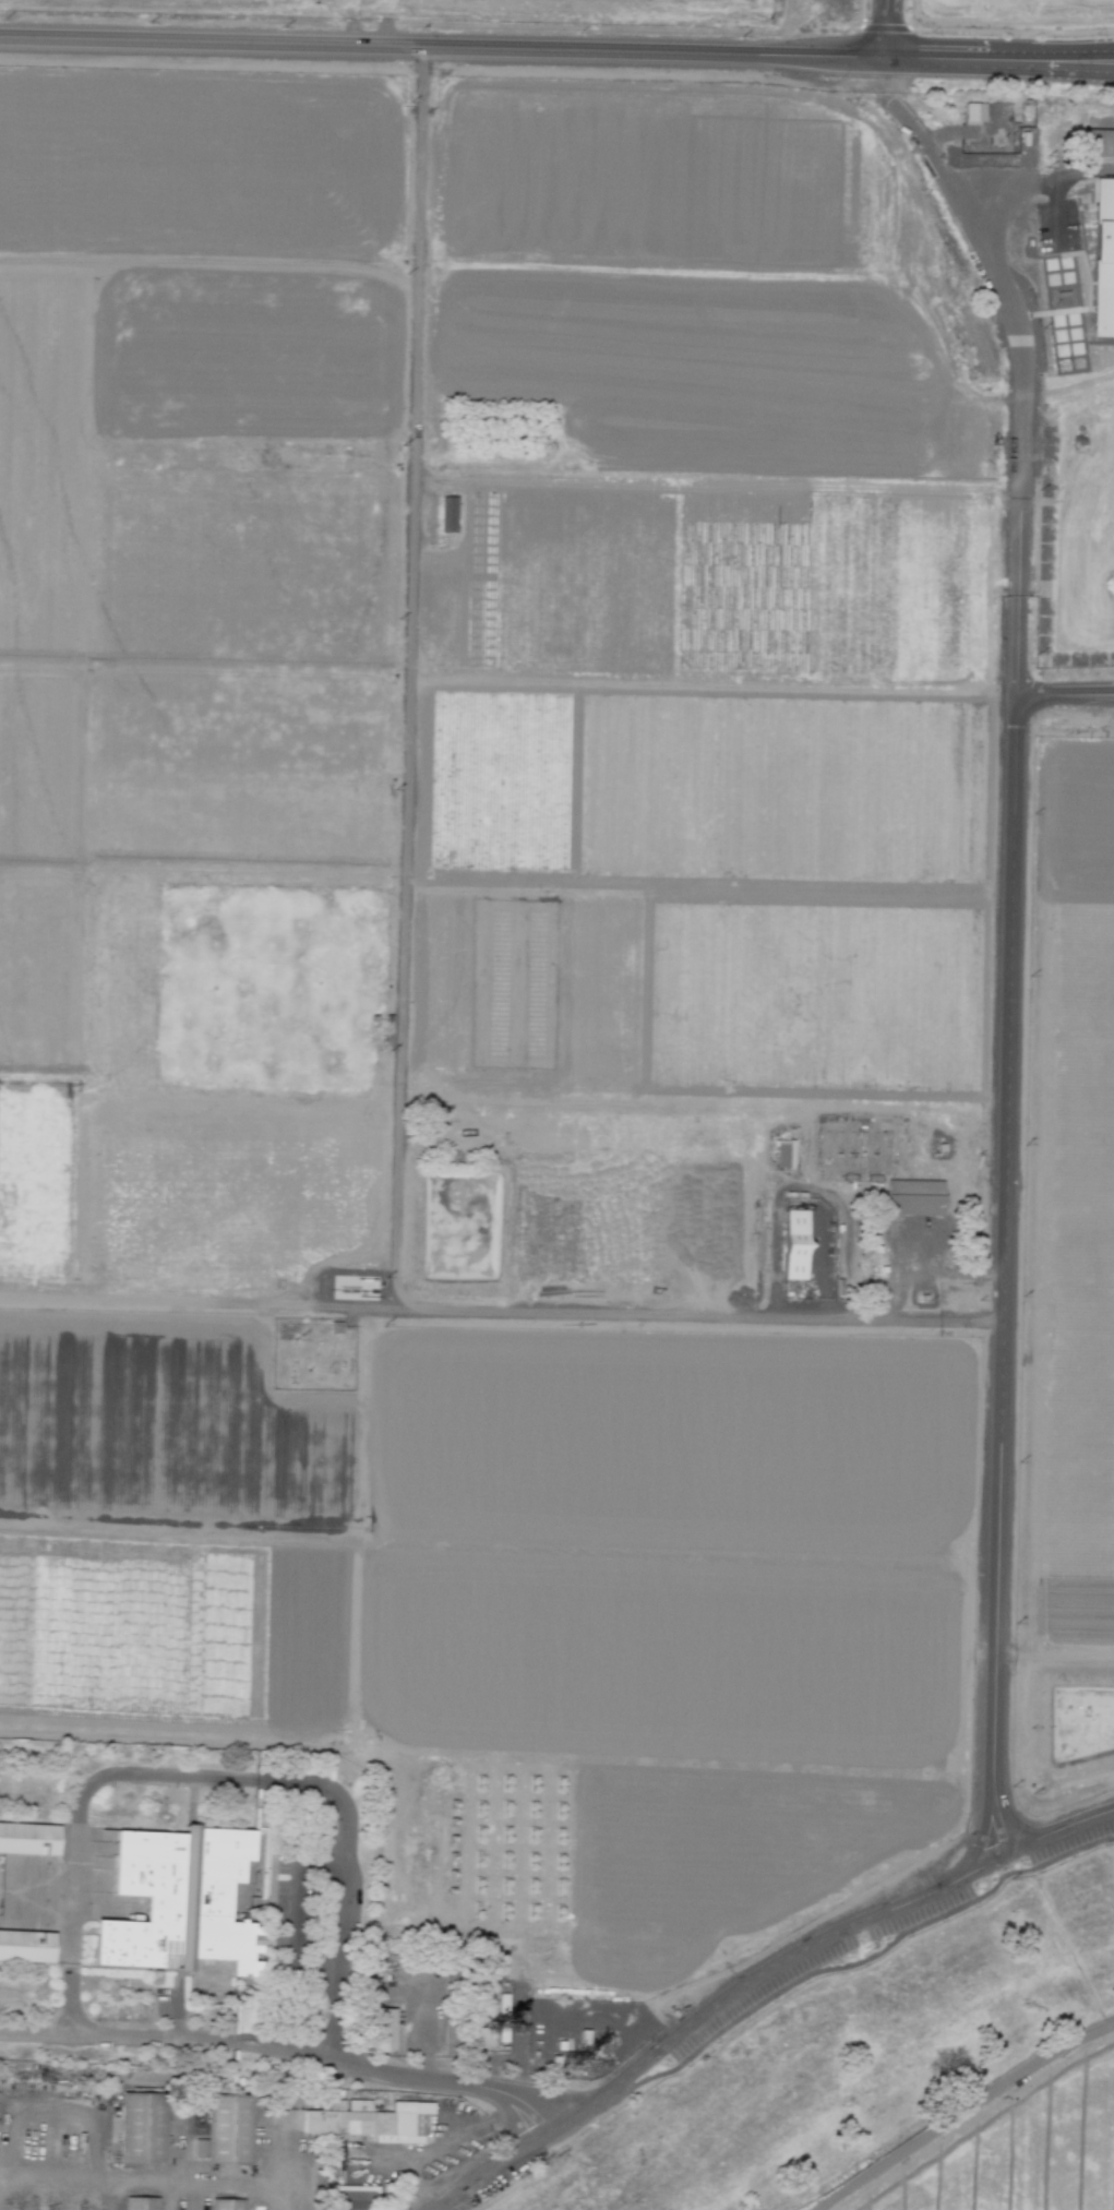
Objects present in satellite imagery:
road: (862, 13)
road: (885, 26)
road: (885, 27)
road: (997, 29)
road: (526, 46)
road: (1105, 46)
road: (1082, 52)
road: (1082, 65)
building: (973, 110)
road: (951, 131)
building: (1098, 142)
road: (1033, 183)
parking lot: (1058, 225)
building: (1103, 258)
road: (1087, 271)
road: (1017, 332)
road: (1066, 372)
building: (447, 513)
road: (1015, 645)
road: (405, 674)
road: (1097, 692)
road: (1047, 694)
road: (1097, 698)
building: (784, 1152)
road: (803, 1184)
building: (914, 1196)
building: (794, 1243)
road: (1007, 1276)
road: (503, 1309)
building: (28, 1838)
parking lot: (1071, 1841)
road: (346, 1884)
road: (74, 1896)
building: (181, 1900)
road: (294, 1910)
parking lot: (920, 1911)
building: (27, 1945)
road: (852, 1964)
road: (750, 1978)
parking lot: (762, 1994)
building: (457, 2006)
building: (384, 2029)
building: (502, 2030)
road: (43, 2032)
building: (480, 2036)
road: (279, 2046)
road: (443, 2080)
road: (961, 2112)
building: (372, 2119)
building: (228, 2127)
building: (146, 2128)
crop: (1026, 2150)
road: (83, 2176)
road: (229, 2184)
road: (167, 2195)
building: (356, 2197)
building: (143, 2203)
building: (226, 2203)

